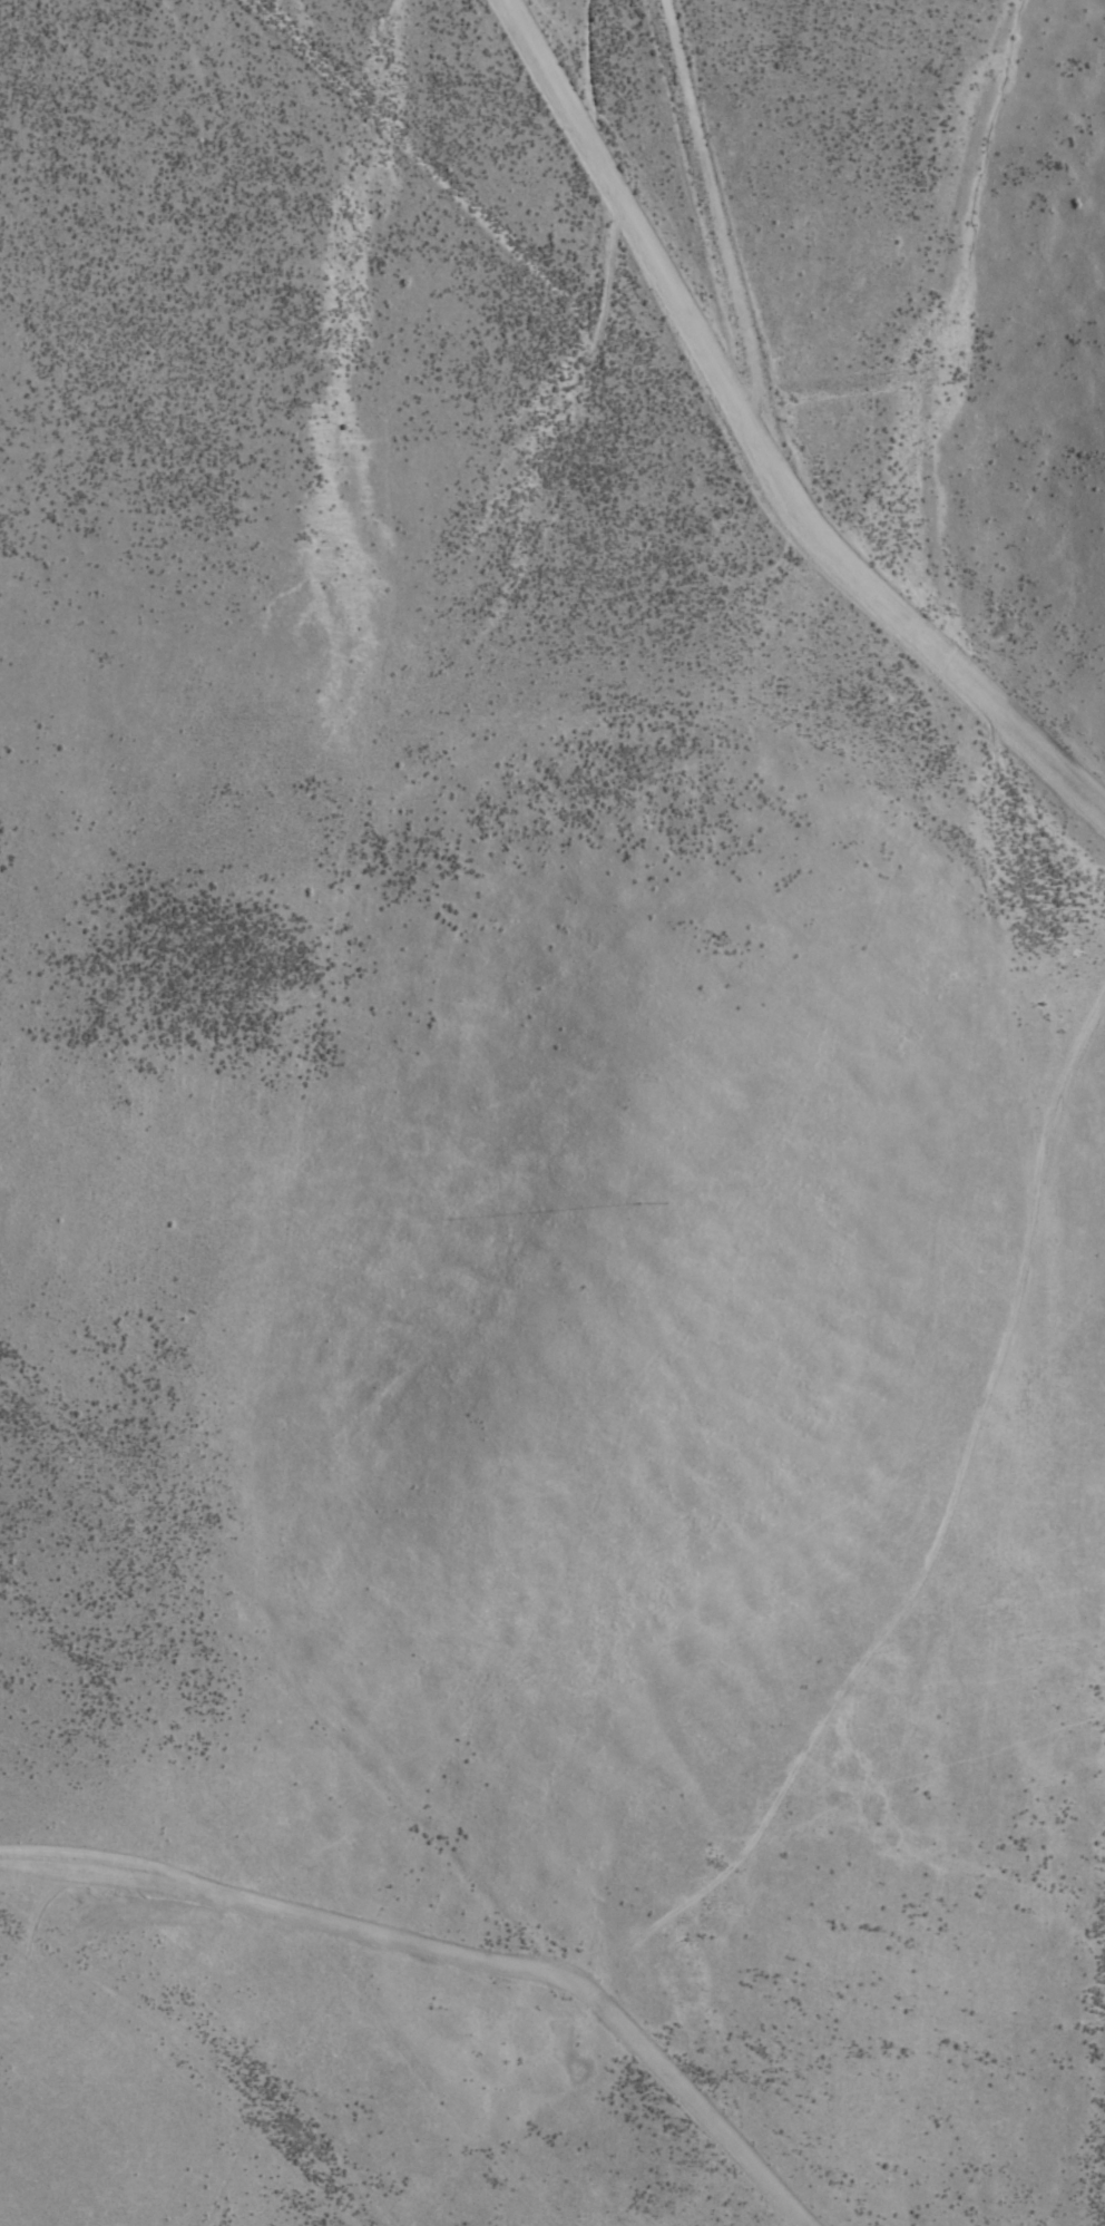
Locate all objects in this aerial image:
road: (714, 382)

